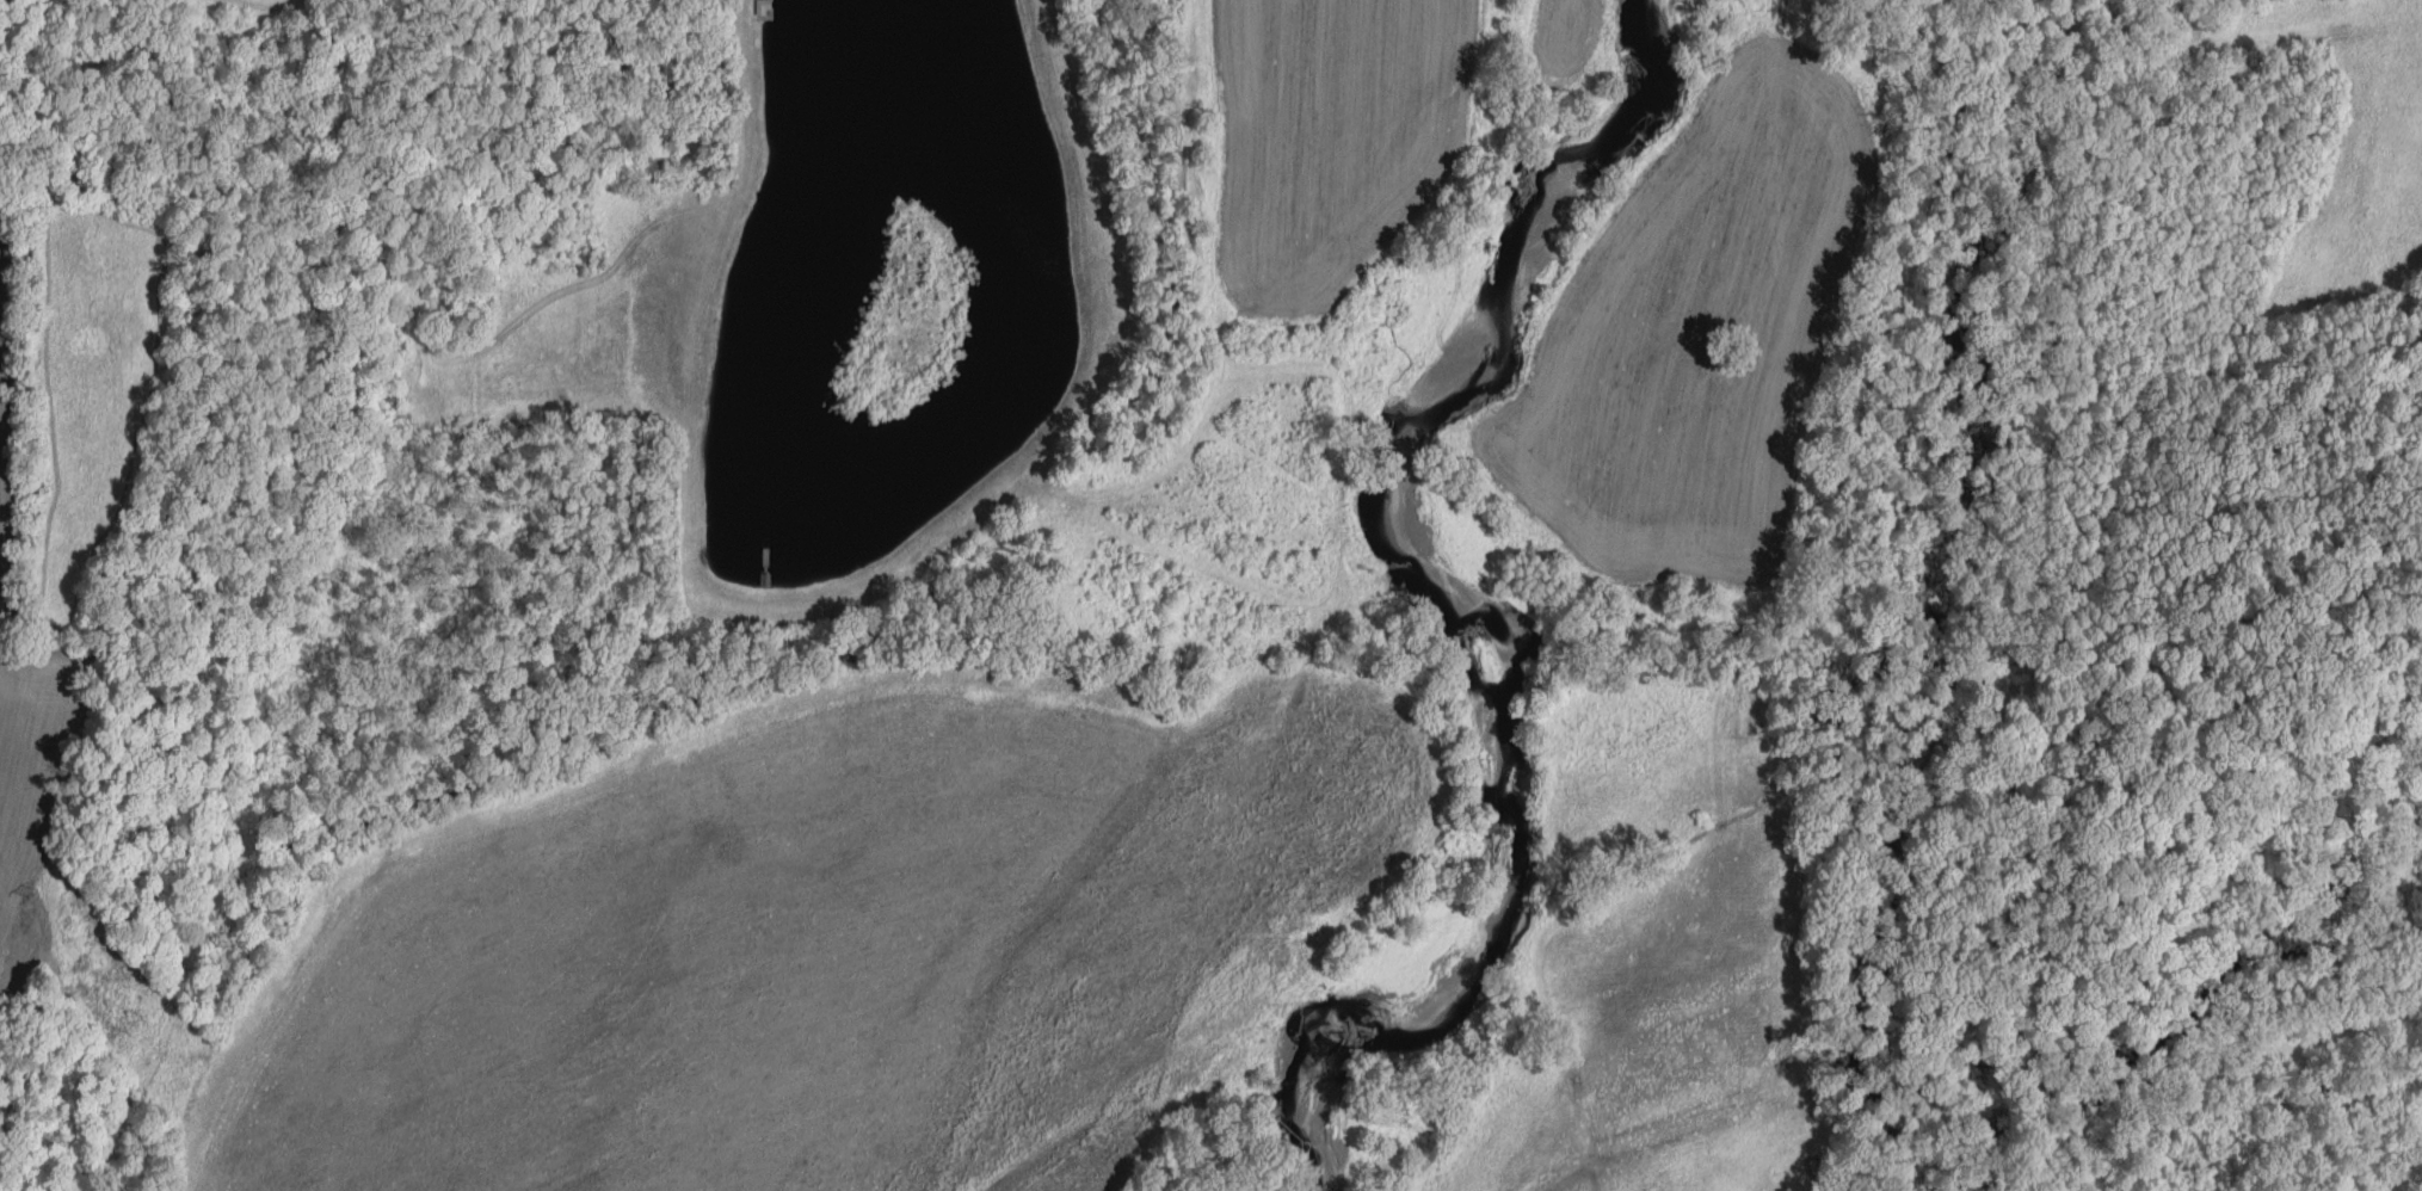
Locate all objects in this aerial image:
river: (1443, 621)
power tower: (31, 895)

